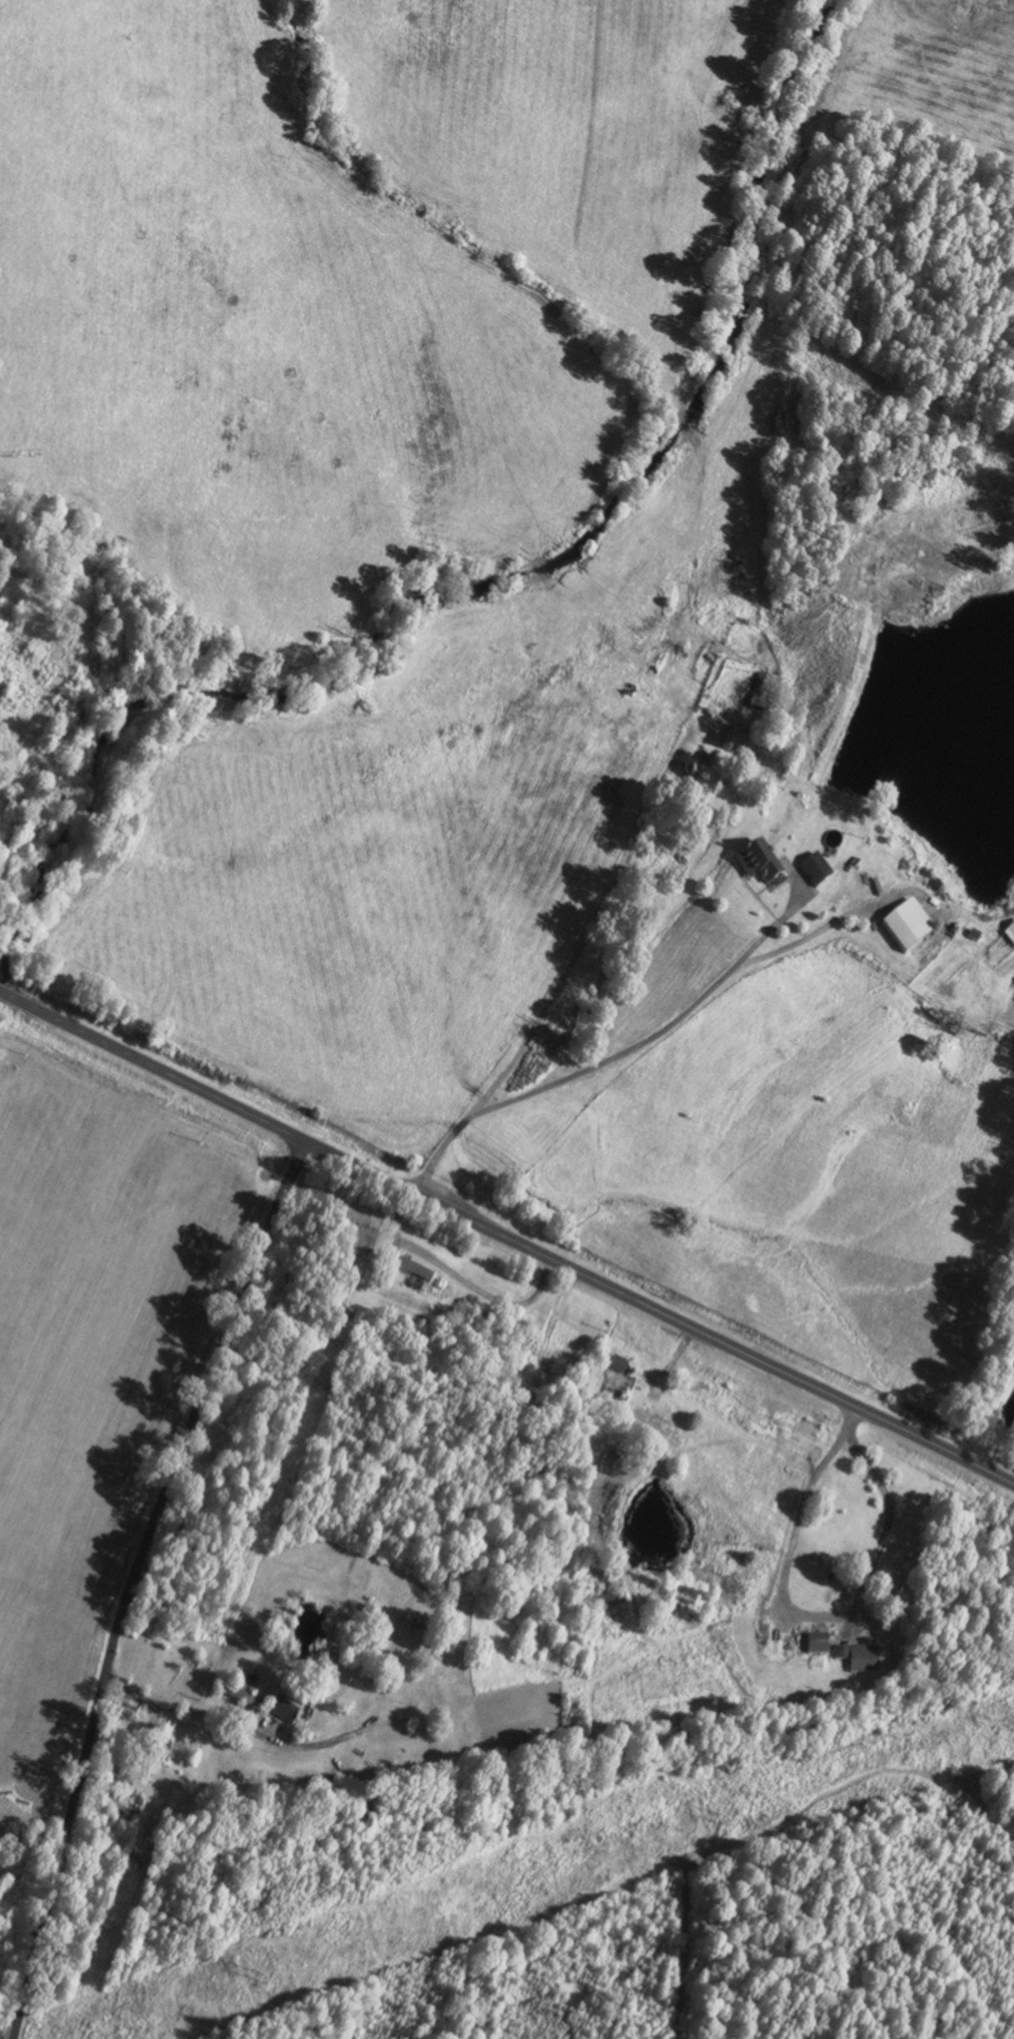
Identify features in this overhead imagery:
building: (25, 657)
building: (767, 691)
building: (760, 864)
building: (816, 871)
building: (907, 928)
road: (507, 1239)
building: (412, 1271)
building: (617, 1366)
building: (652, 1422)
road: (133, 1581)
building: (817, 1644)
building: (863, 1659)
building: (241, 1698)
building: (286, 1709)
road: (324, 1741)

